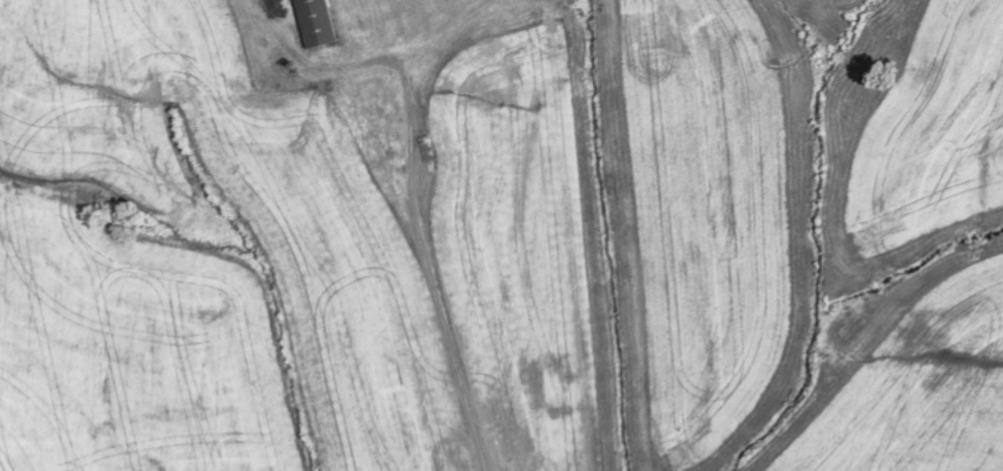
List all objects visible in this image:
building: (323, 22)

